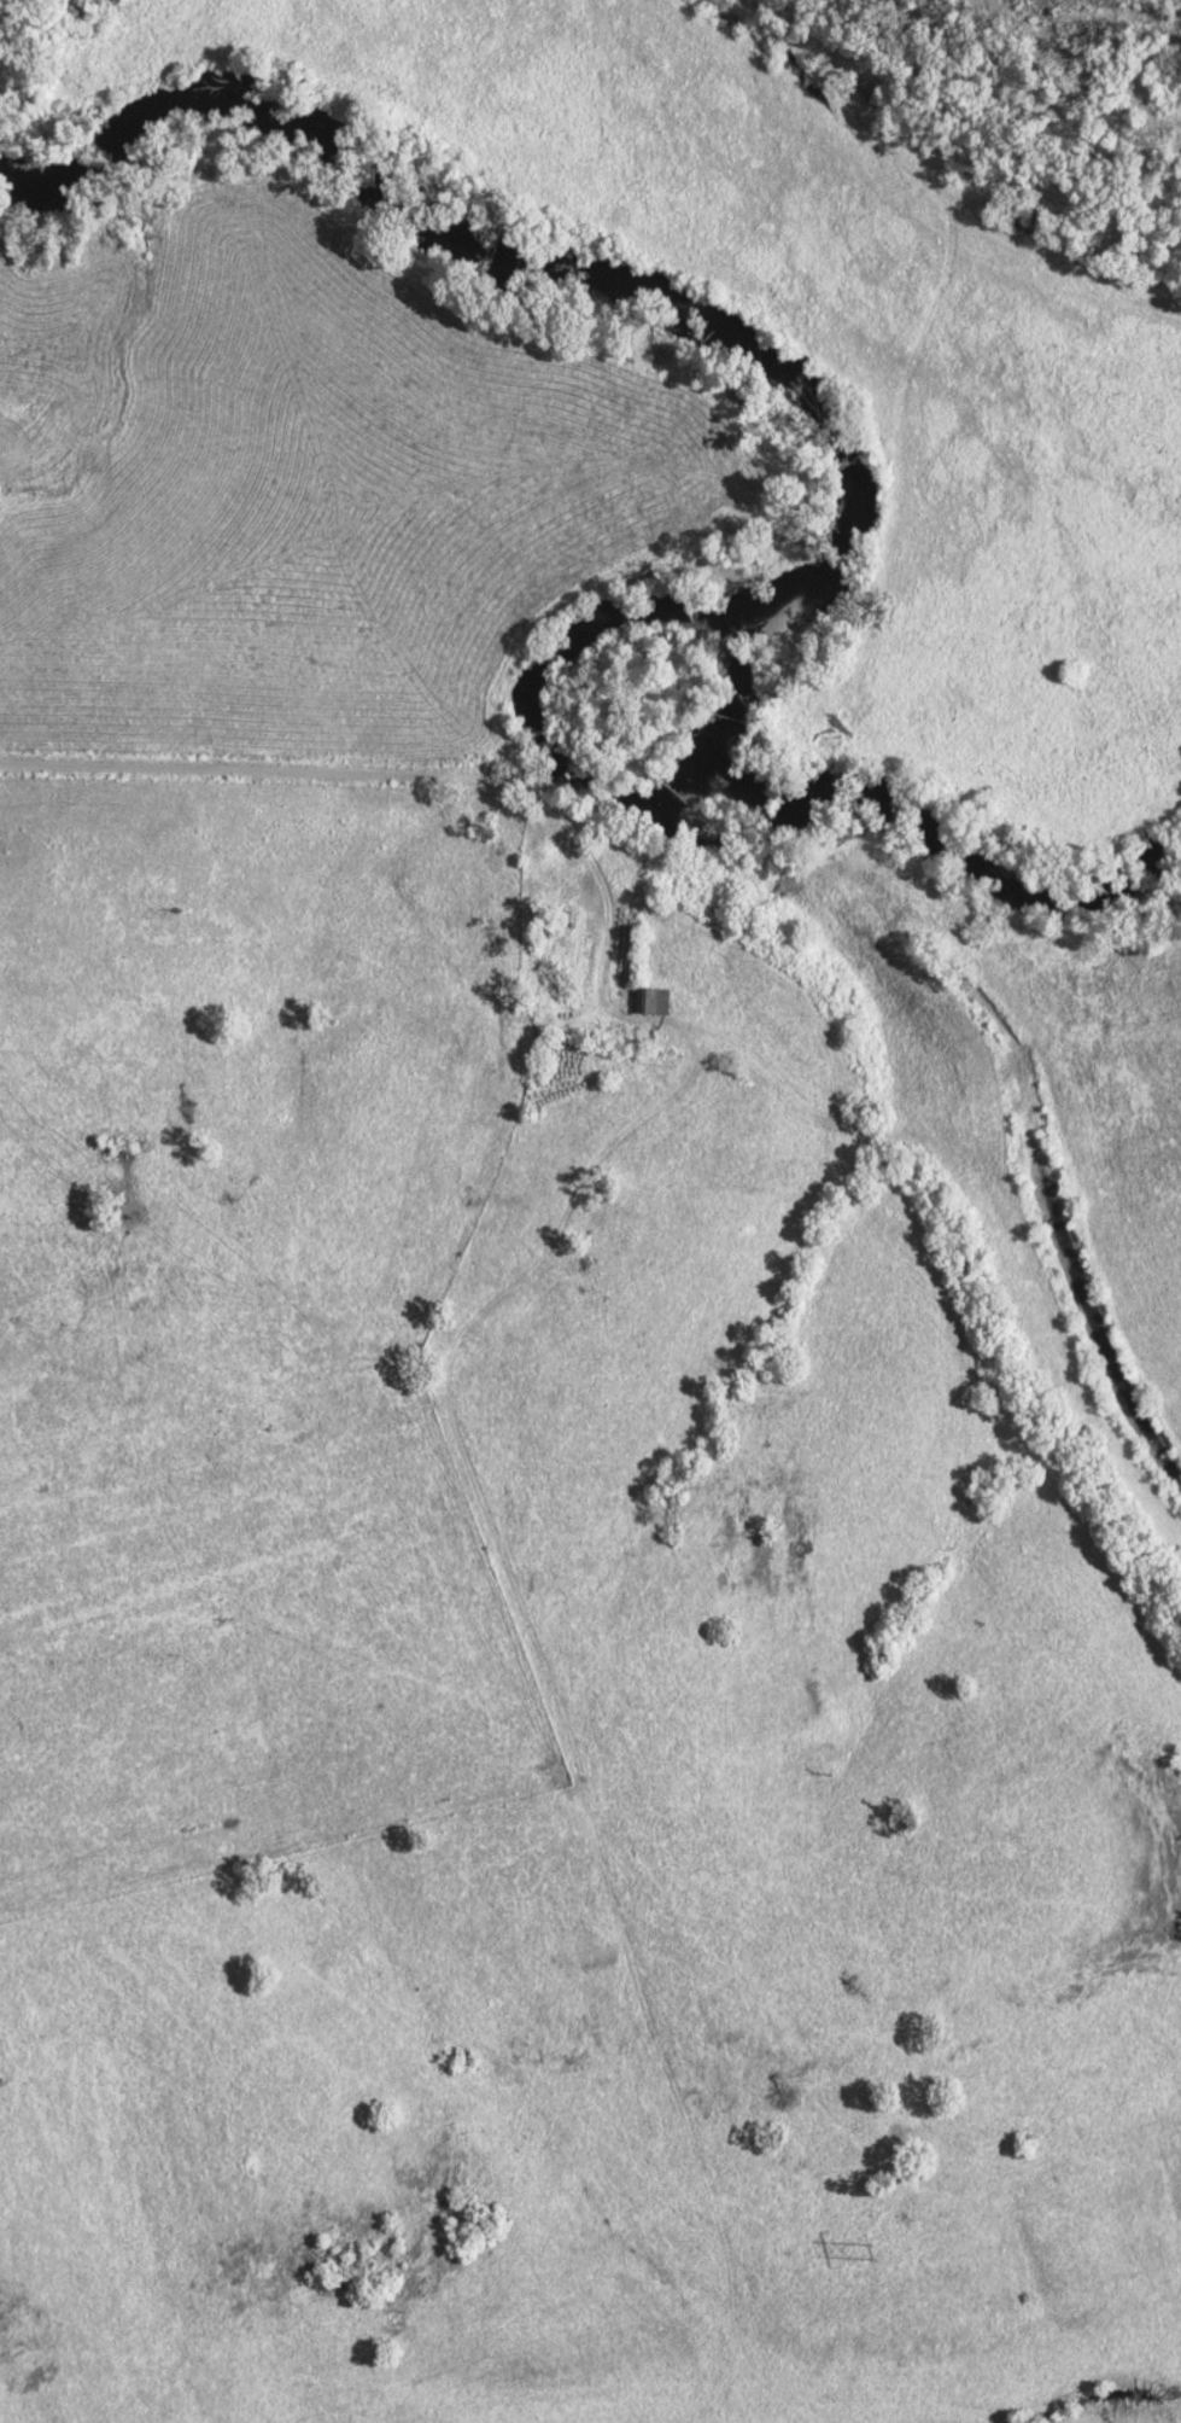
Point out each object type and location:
river: (785, 513)
road: (401, 773)
building: (647, 1001)
power tower: (867, 2253)

